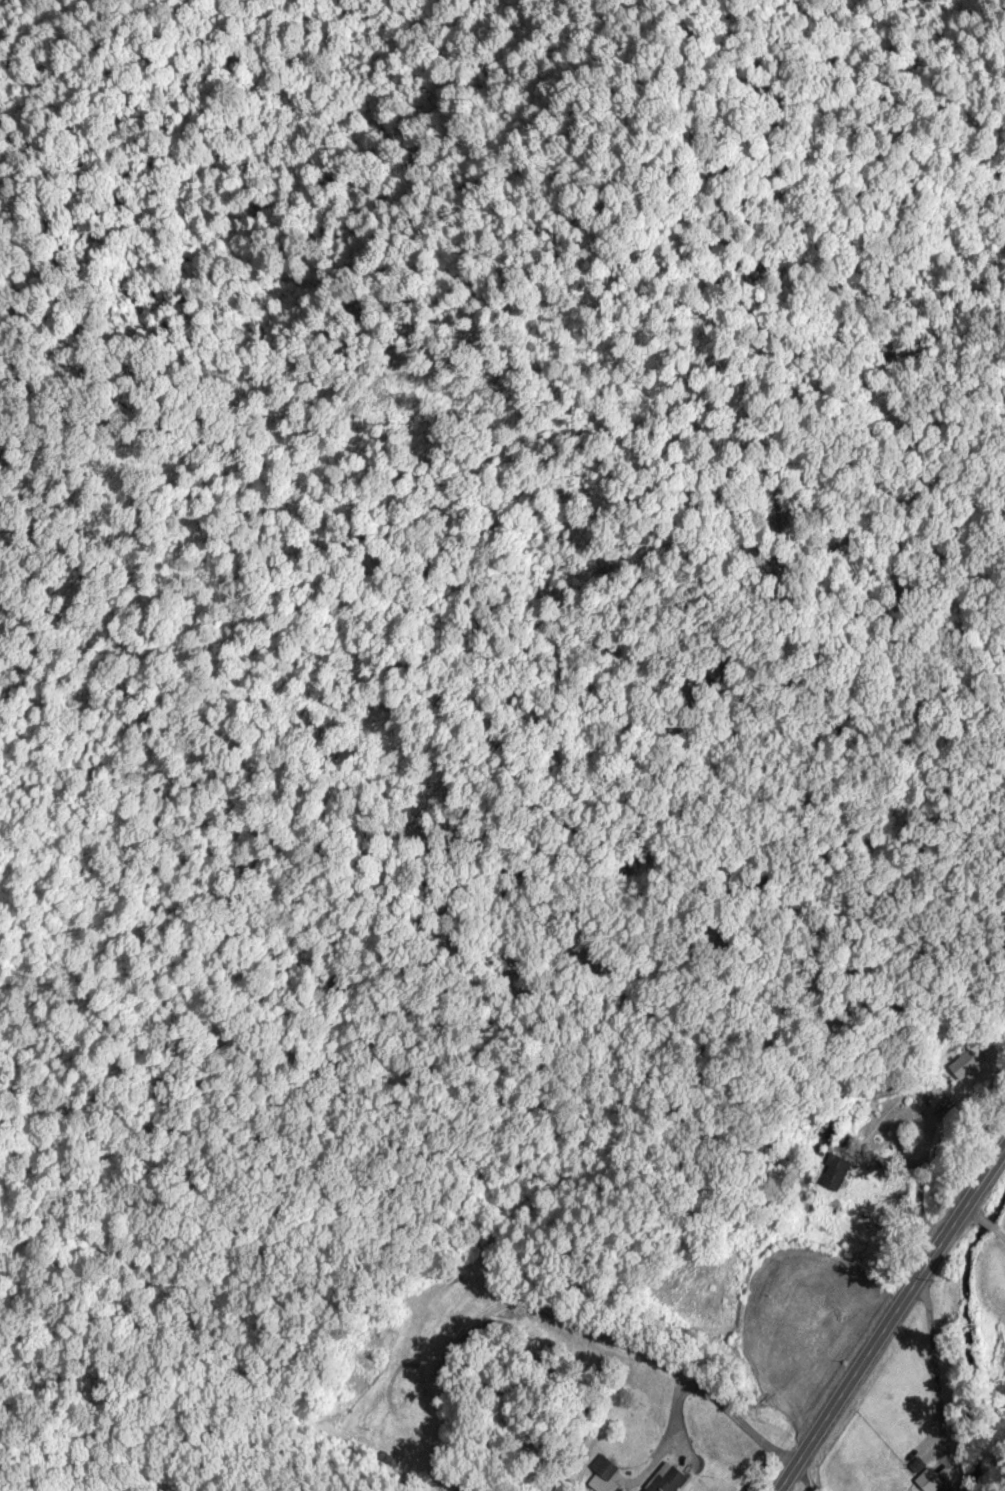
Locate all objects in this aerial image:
road: (892, 1321)
building: (929, 1481)

